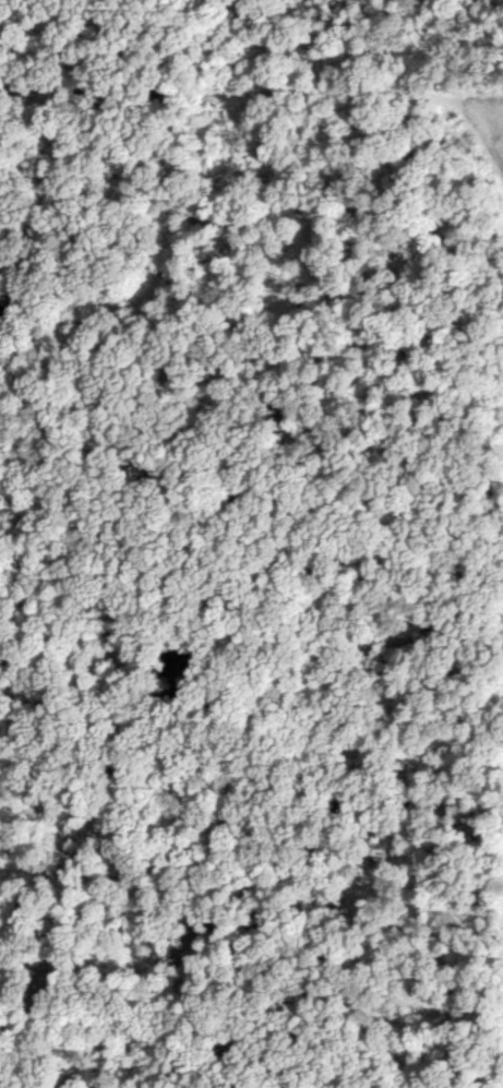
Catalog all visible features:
crop: (251, 543)

